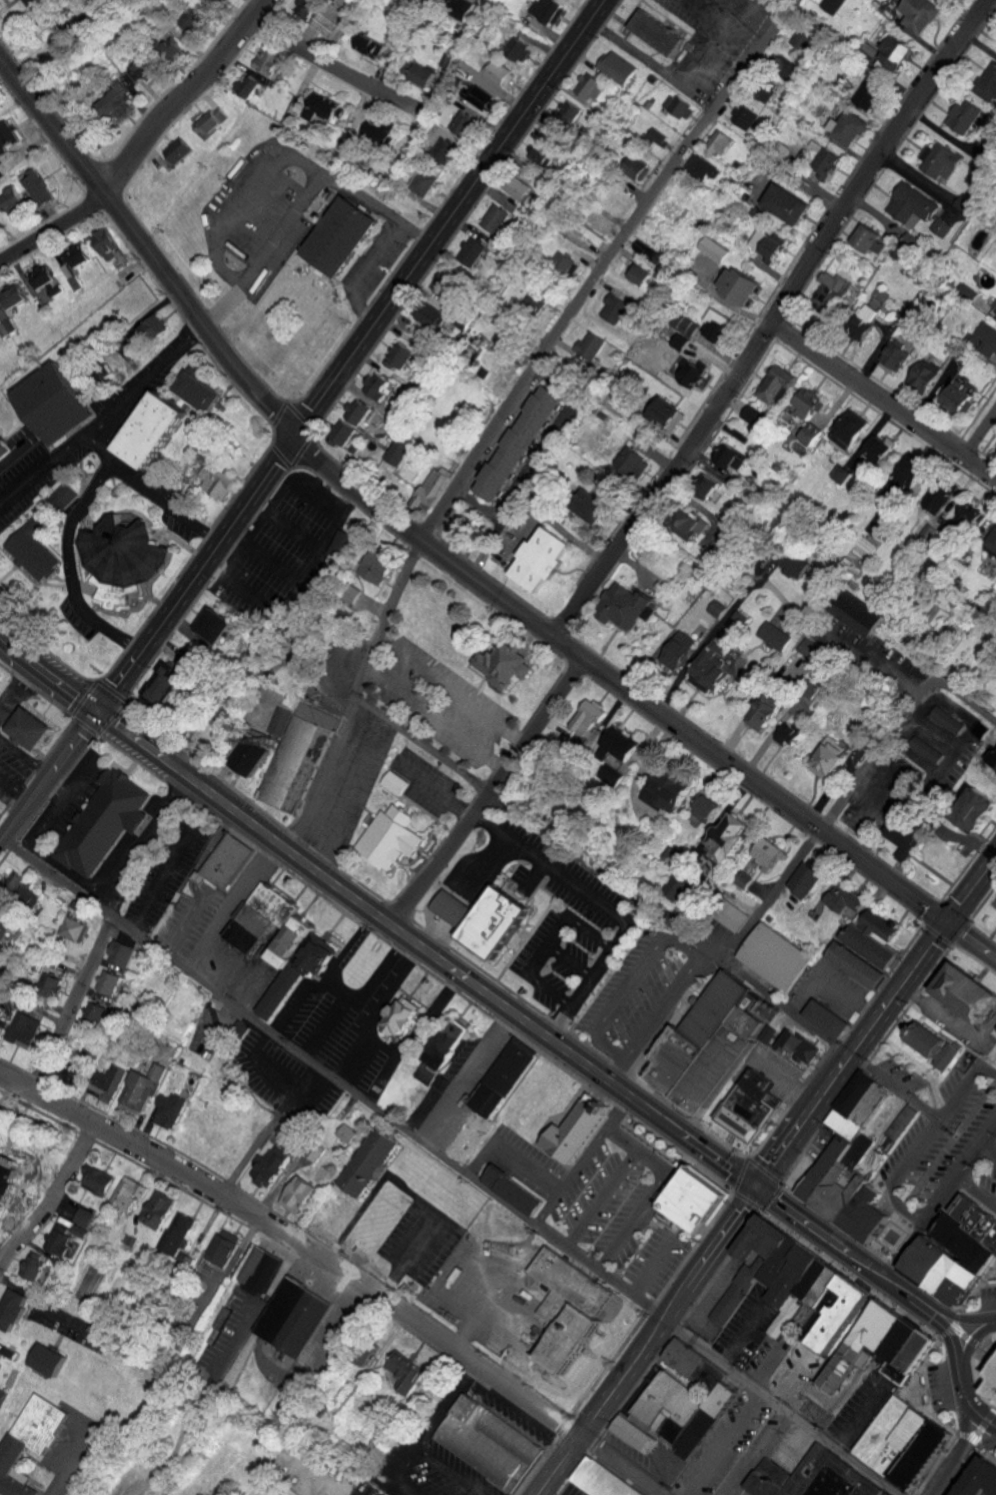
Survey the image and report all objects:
building: (217, 1)
building: (34, 2)
building: (830, 5)
building: (306, 8)
building: (550, 10)
building: (462, 11)
building: (920, 13)
road: (753, 16)
road: (719, 29)
building: (657, 32)
building: (168, 45)
building: (370, 46)
building: (517, 49)
building: (896, 53)
building: (269, 61)
building: (140, 67)
building: (617, 67)
building: (784, 68)
road: (334, 70)
building: (421, 72)
building: (501, 73)
building: (988, 83)
building: (248, 85)
building: (589, 86)
building: (767, 92)
road: (186, 94)
building: (865, 94)
building: (483, 97)
building: (113, 101)
building: (322, 106)
building: (678, 106)
building: (567, 113)
building: (744, 116)
building: (964, 117)
building: (211, 122)
building: (465, 123)
building: (848, 129)
building: (380, 131)
building: (6, 136)
building: (658, 138)
building: (719, 142)
building: (446, 149)
building: (177, 151)
building: (543, 156)
building: (939, 162)
building: (826, 165)
building: (637, 168)
building: (703, 169)
building: (0, 174)
road: (330, 179)
building: (425, 182)
building: (519, 185)
building: (36, 186)
building: (10, 200)
building: (788, 203)
building: (913, 204)
building: (497, 218)
building: (944, 226)
road: (55, 233)
road: (413, 234)
building: (343, 237)
building: (872, 239)
building: (103, 242)
building: (769, 243)
building: (715, 249)
building: (471, 251)
building: (563, 262)
building: (72, 263)
building: (645, 278)
building: (44, 279)
building: (740, 287)
building: (449, 288)
building: (833, 289)
building: (534, 303)
building: (614, 308)
building: (995, 309)
building: (430, 316)
building: (5, 320)
building: (461, 320)
road: (773, 320)
building: (867, 321)
building: (685, 324)
building: (719, 325)
building: (151, 328)
building: (985, 339)
building: (680, 341)
building: (591, 345)
road: (350, 355)
building: (399, 357)
building: (896, 358)
building: (689, 371)
building: (924, 377)
building: (777, 384)
building: (377, 385)
building: (200, 390)
building: (959, 398)
road: (884, 401)
building: (52, 403)
building: (809, 404)
road: (508, 407)
building: (356, 411)
building: (758, 412)
building: (669, 414)
road: (108, 423)
building: (851, 429)
building: (151, 430)
building: (342, 434)
building: (811, 434)
road: (980, 435)
building: (519, 443)
building: (3, 449)
building: (396, 451)
building: (731, 458)
building: (634, 462)
building: (912, 469)
building: (844, 474)
road: (317, 479)
building: (216, 481)
building: (433, 487)
building: (716, 491)
building: (65, 495)
building: (937, 497)
road: (317, 501)
road: (166, 504)
building: (593, 506)
building: (966, 520)
road: (254, 524)
road: (282, 525)
building: (692, 526)
building: (877, 528)
building: (341, 544)
road: (72, 546)
parking lot: (287, 549)
building: (993, 550)
road: (316, 553)
building: (38, 554)
road: (447, 559)
building: (543, 559)
building: (124, 561)
road: (256, 565)
building: (377, 566)
building: (794, 566)
building: (351, 594)
road: (245, 595)
building: (626, 607)
building: (860, 613)
building: (211, 625)
building: (775, 636)
building: (679, 650)
building: (504, 665)
building: (712, 667)
road: (886, 667)
building: (164, 685)
road: (445, 688)
road: (964, 704)
building: (766, 712)
building: (588, 717)
building: (947, 720)
building: (279, 722)
building: (30, 729)
building: (791, 734)
building: (593, 738)
building: (618, 746)
building: (926, 750)
building: (249, 757)
building: (296, 758)
building: (828, 758)
building: (993, 758)
building: (611, 775)
road: (48, 778)
building: (394, 783)
road: (478, 786)
building: (665, 791)
building: (706, 809)
building: (979, 814)
building: (105, 822)
building: (389, 838)
building: (730, 838)
building: (906, 839)
road: (1, 841)
road: (292, 854)
building: (767, 854)
building: (227, 862)
road: (553, 868)
road: (602, 873)
building: (678, 881)
building: (804, 881)
road: (777, 887)
building: (21, 889)
building: (849, 903)
building: (446, 905)
building: (82, 907)
road: (953, 909)
road: (931, 911)
building: (730, 916)
building: (260, 918)
parking lot: (572, 922)
building: (5, 923)
building: (75, 929)
building: (494, 930)
road: (109, 932)
road: (959, 932)
road: (935, 935)
building: (874, 939)
road: (554, 942)
road: (704, 951)
building: (123, 954)
road: (922, 956)
building: (778, 961)
building: (296, 963)
road: (577, 963)
building: (857, 966)
road: (604, 977)
road: (632, 981)
building: (111, 983)
road: (307, 986)
building: (55, 987)
parking lot: (649, 994)
road: (356, 995)
building: (970, 998)
road: (665, 1004)
road: (378, 1007)
building: (1, 1011)
building: (98, 1014)
building: (401, 1018)
building: (828, 1019)
road: (416, 1029)
building: (26, 1030)
building: (771, 1034)
road: (836, 1042)
building: (799, 1045)
building: (443, 1050)
building: (711, 1051)
building: (934, 1053)
road: (866, 1064)
road: (617, 1068)
road: (280, 1077)
building: (504, 1079)
building: (109, 1083)
road: (895, 1086)
building: (144, 1088)
building: (859, 1105)
building: (748, 1109)
building: (172, 1111)
road: (620, 1112)
building: (903, 1121)
road: (803, 1122)
building: (574, 1127)
road: (673, 1127)
road: (258, 1139)
road: (923, 1140)
parking lot: (943, 1142)
road: (637, 1148)
road: (989, 1149)
road: (511, 1156)
building: (368, 1161)
building: (269, 1165)
road: (451, 1166)
road: (765, 1169)
road: (739, 1174)
building: (838, 1175)
road: (572, 1177)
building: (99, 1178)
building: (8, 1182)
traffic signals: (757, 1188)
road: (978, 1188)
building: (130, 1192)
road: (947, 1192)
building: (298, 1194)
building: (520, 1196)
road: (599, 1197)
road: (772, 1197)
building: (698, 1198)
road: (749, 1201)
road: (58, 1207)
building: (157, 1209)
building: (86, 1216)
building: (877, 1219)
road: (631, 1222)
building: (82, 1230)
building: (178, 1231)
building: (61, 1239)
building: (222, 1247)
road: (870, 1247)
road: (849, 1255)
building: (957, 1256)
building: (35, 1264)
road: (341, 1266)
building: (259, 1269)
building: (754, 1273)
building: (45, 1275)
building: (801, 1275)
building: (574, 1287)
road: (976, 1287)
road: (654, 1300)
building: (14, 1308)
building: (293, 1316)
road: (683, 1318)
road: (955, 1318)
road: (991, 1318)
building: (840, 1327)
road: (965, 1327)
road: (946, 1333)
road: (966, 1336)
road: (647, 1341)
road: (966, 1341)
road: (953, 1345)
building: (685, 1356)
building: (868, 1357)
building: (48, 1358)
building: (412, 1377)
road: (974, 1379)
building: (993, 1381)
road: (904, 1393)
building: (2, 1394)
road: (967, 1404)
building: (676, 1415)
road: (592, 1419)
road: (986, 1420)
road: (566, 1422)
road: (966, 1433)
road: (975, 1433)
road: (981, 1440)
building: (29, 1441)
building: (905, 1441)
building: (490, 1442)
road: (722, 1443)
road: (980, 1444)
road: (599, 1445)
road: (572, 1448)
road: (989, 1458)
road: (70, 1461)
road: (954, 1473)
building: (810, 1479)
building: (603, 1480)
building: (985, 1482)
building: (266, 1493)

